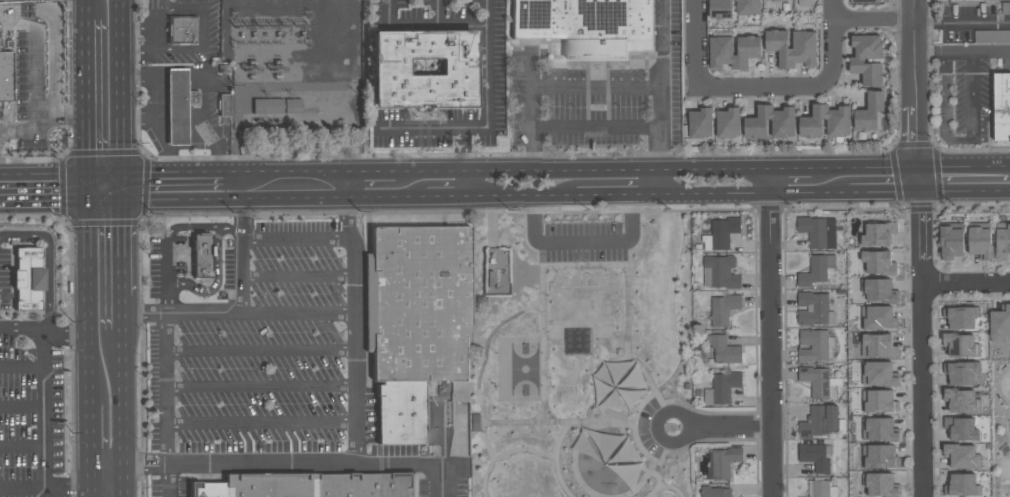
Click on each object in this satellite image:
building: (772, 0)
building: (865, 1)
building: (733, 7)
building: (1006, 7)
road: (89, 8)
road: (202, 20)
road: (862, 20)
road: (960, 21)
building: (587, 25)
building: (180, 30)
building: (996, 35)
road: (662, 43)
building: (790, 48)
building: (733, 50)
road: (992, 52)
road: (927, 53)
road: (958, 53)
building: (857, 60)
power substation: (294, 63)
road: (90, 68)
building: (422, 69)
building: (5, 76)
road: (33, 82)
road: (914, 82)
road: (595, 87)
road: (754, 88)
road: (121, 94)
building: (224, 105)
road: (488, 105)
building: (178, 106)
building: (1002, 106)
building: (267, 107)
building: (870, 111)
building: (700, 122)
building: (728, 122)
road: (43, 125)
building: (755, 127)
building: (838, 127)
road: (595, 128)
road: (421, 131)
road: (959, 139)
road: (95, 153)
traffic signals: (917, 165)
road: (963, 165)
road: (835, 166)
road: (706, 168)
road: (620, 169)
road: (520, 170)
road: (53, 174)
road: (917, 177)
road: (771, 180)
road: (658, 181)
traffic signals: (106, 186)
road: (174, 186)
road: (301, 186)
road: (375, 186)
road: (408, 186)
road: (445, 186)
road: (964, 189)
traffic signals: (918, 190)
road: (834, 191)
road: (704, 193)
road: (615, 194)
road: (517, 195)
road: (72, 196)
road: (19, 201)
road: (112, 207)
road: (243, 210)
road: (581, 211)
road: (639, 211)
road: (524, 212)
street lamp: (604, 220)
road: (490, 221)
street lamp: (560, 221)
street lamp: (643, 225)
street lamp: (522, 226)
road: (203, 228)
building: (725, 231)
building: (818, 231)
building: (877, 234)
road: (919, 235)
parking lot: (582, 239)
road: (581, 240)
building: (1002, 240)
road: (298, 241)
building: (980, 241)
building: (951, 242)
road: (540, 251)
road: (580, 251)
building: (202, 255)
road: (89, 256)
road: (48, 259)
building: (878, 261)
building: (29, 268)
street lamp: (605, 270)
street lamp: (555, 271)
building: (814, 271)
road: (119, 272)
building: (721, 272)
road: (243, 273)
road: (298, 276)
road: (965, 281)
building: (879, 289)
street lamp: (547, 295)
street lamp: (631, 304)
building: (813, 308)
building: (724, 309)
road: (236, 312)
building: (960, 316)
building: (878, 317)
road: (119, 322)
building: (1000, 323)
building: (417, 324)
road: (47, 329)
road: (69, 329)
street lamp: (547, 331)
street lamp: (617, 336)
building: (577, 340)
road: (772, 344)
building: (960, 344)
building: (814, 345)
building: (878, 345)
road: (260, 350)
building: (725, 350)
road: (166, 351)
street lamp: (496, 352)
street lamp: (541, 352)
road: (578, 354)
park: (586, 357)
road: (120, 364)
road: (89, 367)
park: (524, 368)
road: (22, 369)
street lamp: (1001, 369)
street lamp: (649, 371)
building: (961, 372)
building: (878, 373)
street lamp: (548, 377)
building: (816, 381)
street lamp: (496, 384)
street lamp: (541, 384)
road: (45, 386)
building: (725, 386)
road: (261, 387)
road: (919, 389)
street lamp: (642, 397)
road: (1004, 399)
building: (879, 400)
building: (962, 400)
road: (22, 409)
road: (724, 412)
street lamp: (577, 416)
street lamp: (506, 417)
building: (475, 421)
building: (820, 421)
road: (262, 423)
road: (646, 423)
road: (756, 425)
flagpole: (672, 426)
park: (1000, 426)
parking lot: (647, 427)
road: (731, 427)
building: (878, 428)
building: (962, 428)
street lamp: (1000, 429)
road: (122, 431)
street lamp: (618, 431)
road: (90, 435)
road: (724, 439)
road: (357, 441)
building: (461, 443)
road: (667, 443)
road: (1009, 445)
road: (22, 448)
building: (1005, 449)
street lamp: (640, 454)
building: (961, 455)
building: (879, 456)
building: (814, 457)
building: (725, 461)
road: (414, 463)
road: (106, 464)
street lamp: (570, 471)
road: (90, 477)
road: (123, 477)
road: (167, 481)
street lamp: (473, 482)
street lamp: (666, 482)
building: (962, 483)
building: (880, 484)
building: (311, 486)
building: (820, 488)
road: (22, 489)
road: (67, 489)
road: (106, 489)
building: (717, 491)
road: (45, 493)
road: (90, 493)
road: (122, 493)

